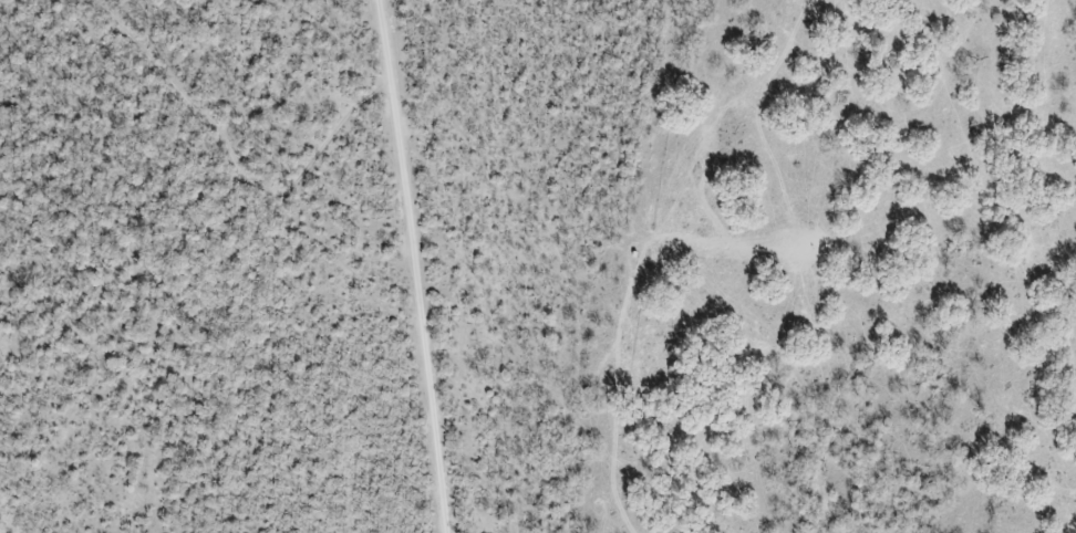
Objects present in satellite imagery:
road: (415, 265)

